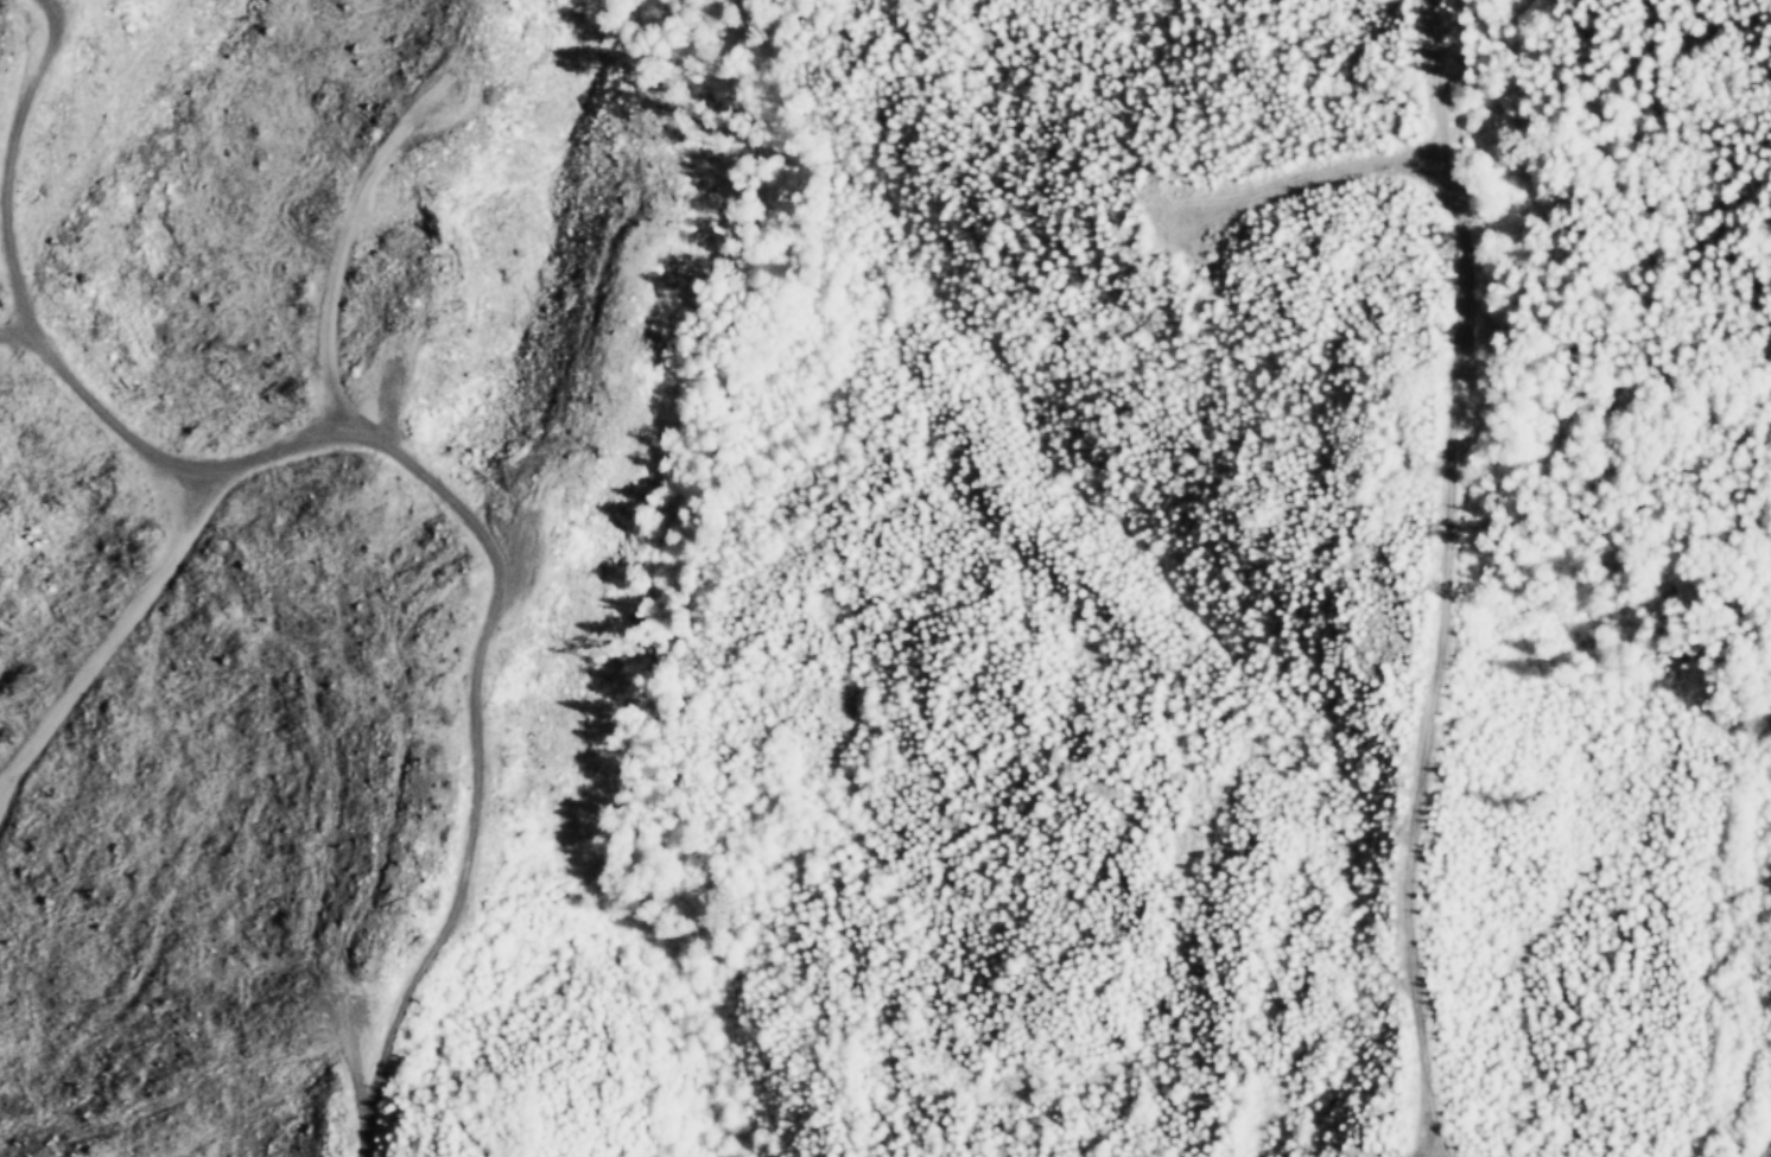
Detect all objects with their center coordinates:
road: (1458, 578)
road: (411, 988)
road: (1762, 1148)

